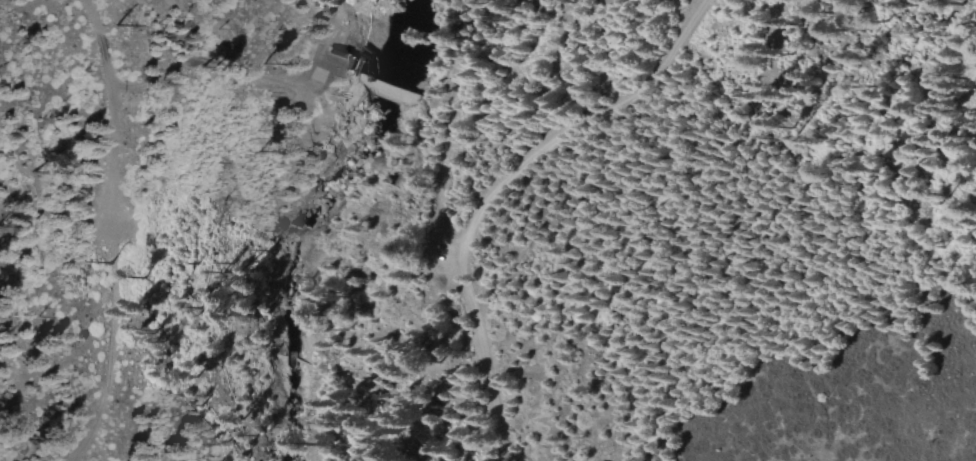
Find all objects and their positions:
power tower: (116, 20)
road: (197, 57)
road: (494, 190)
river: (318, 227)
road: (112, 233)

